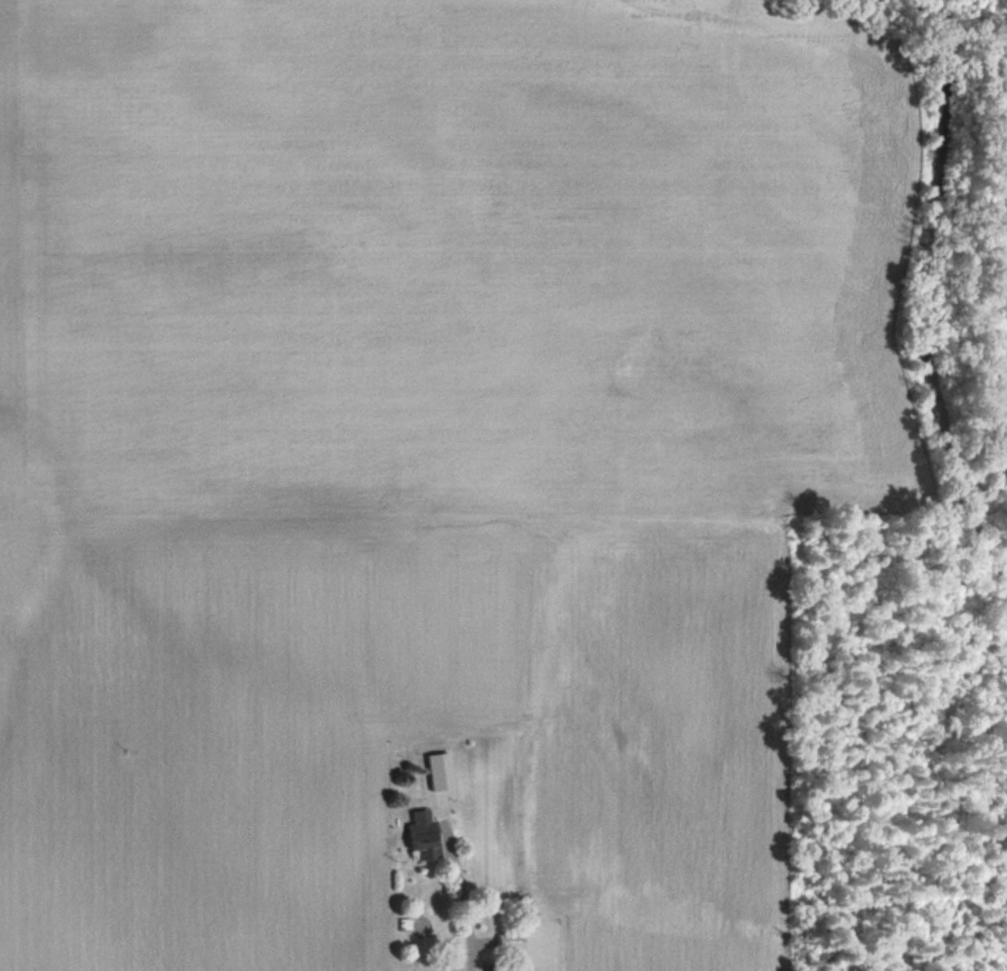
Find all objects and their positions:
building: (438, 770)
building: (422, 835)
road: (466, 908)
building: (508, 941)

